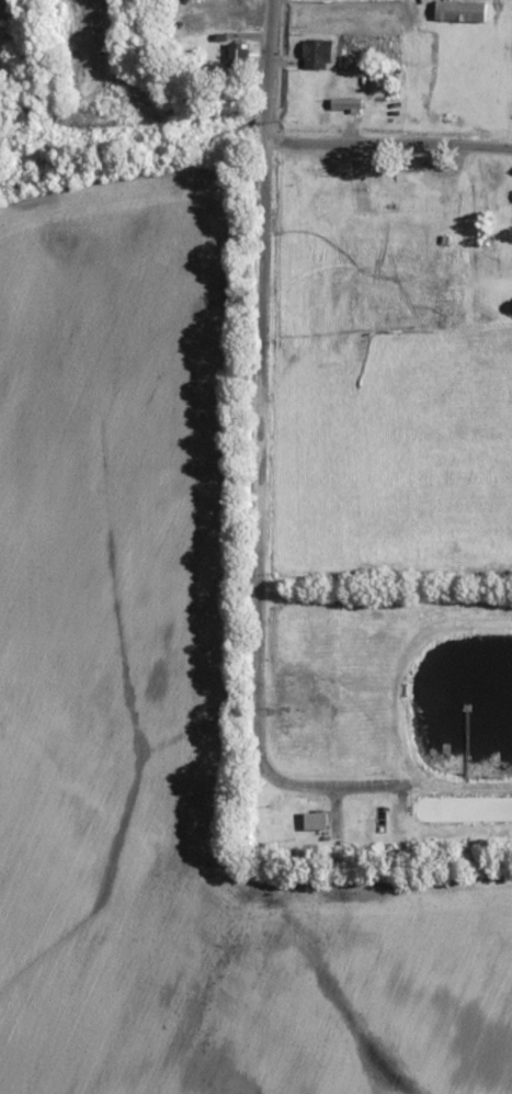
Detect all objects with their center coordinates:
building: (460, 12)
building: (237, 55)
building: (318, 55)
road: (266, 71)
road: (388, 145)
road: (258, 535)
building: (316, 820)

